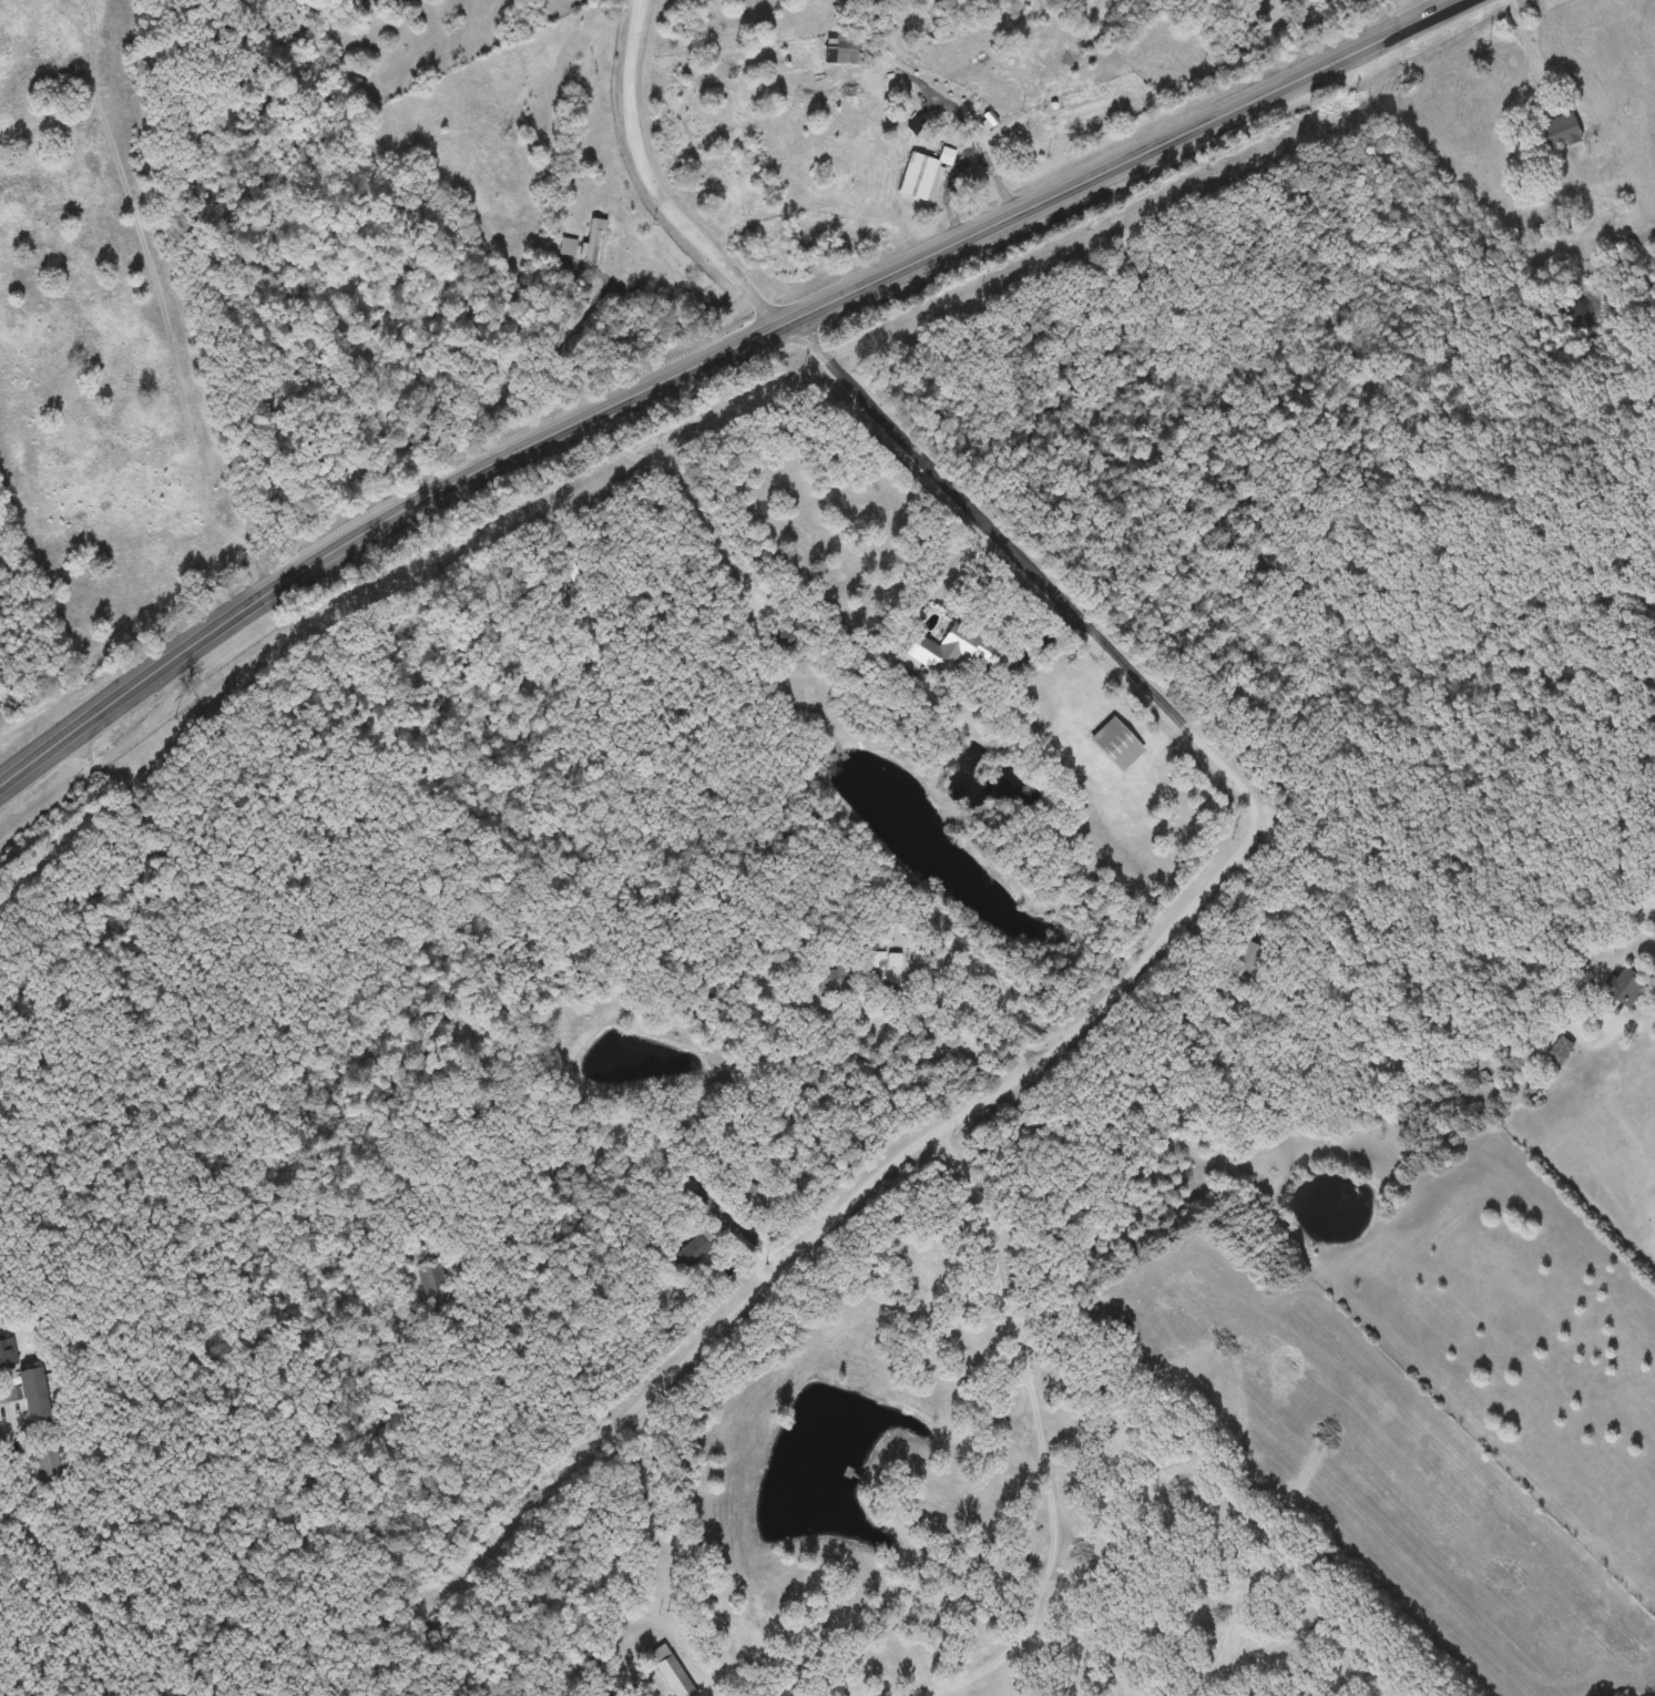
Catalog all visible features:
road: (1523, 31)
building: (848, 50)
building: (1600, 94)
building: (1559, 132)
road: (987, 157)
building: (915, 177)
road: (653, 183)
road: (835, 295)
building: (394, 327)
road: (1050, 461)
road: (943, 479)
road: (693, 510)
road: (524, 511)
building: (949, 652)
road: (110, 702)
building: (1114, 746)
road: (190, 795)
building: (878, 956)
building: (826, 981)
building: (1627, 987)
road: (966, 1012)
road: (1635, 1024)
road: (1581, 1038)
road: (1060, 1044)
road: (950, 1048)
building: (1560, 1050)
building: (785, 1192)
building: (747, 1199)
road: (736, 1227)
building: (693, 1247)
building: (432, 1278)
building: (3, 1316)
building: (22, 1386)
road: (1056, 1535)
building: (667, 1672)

